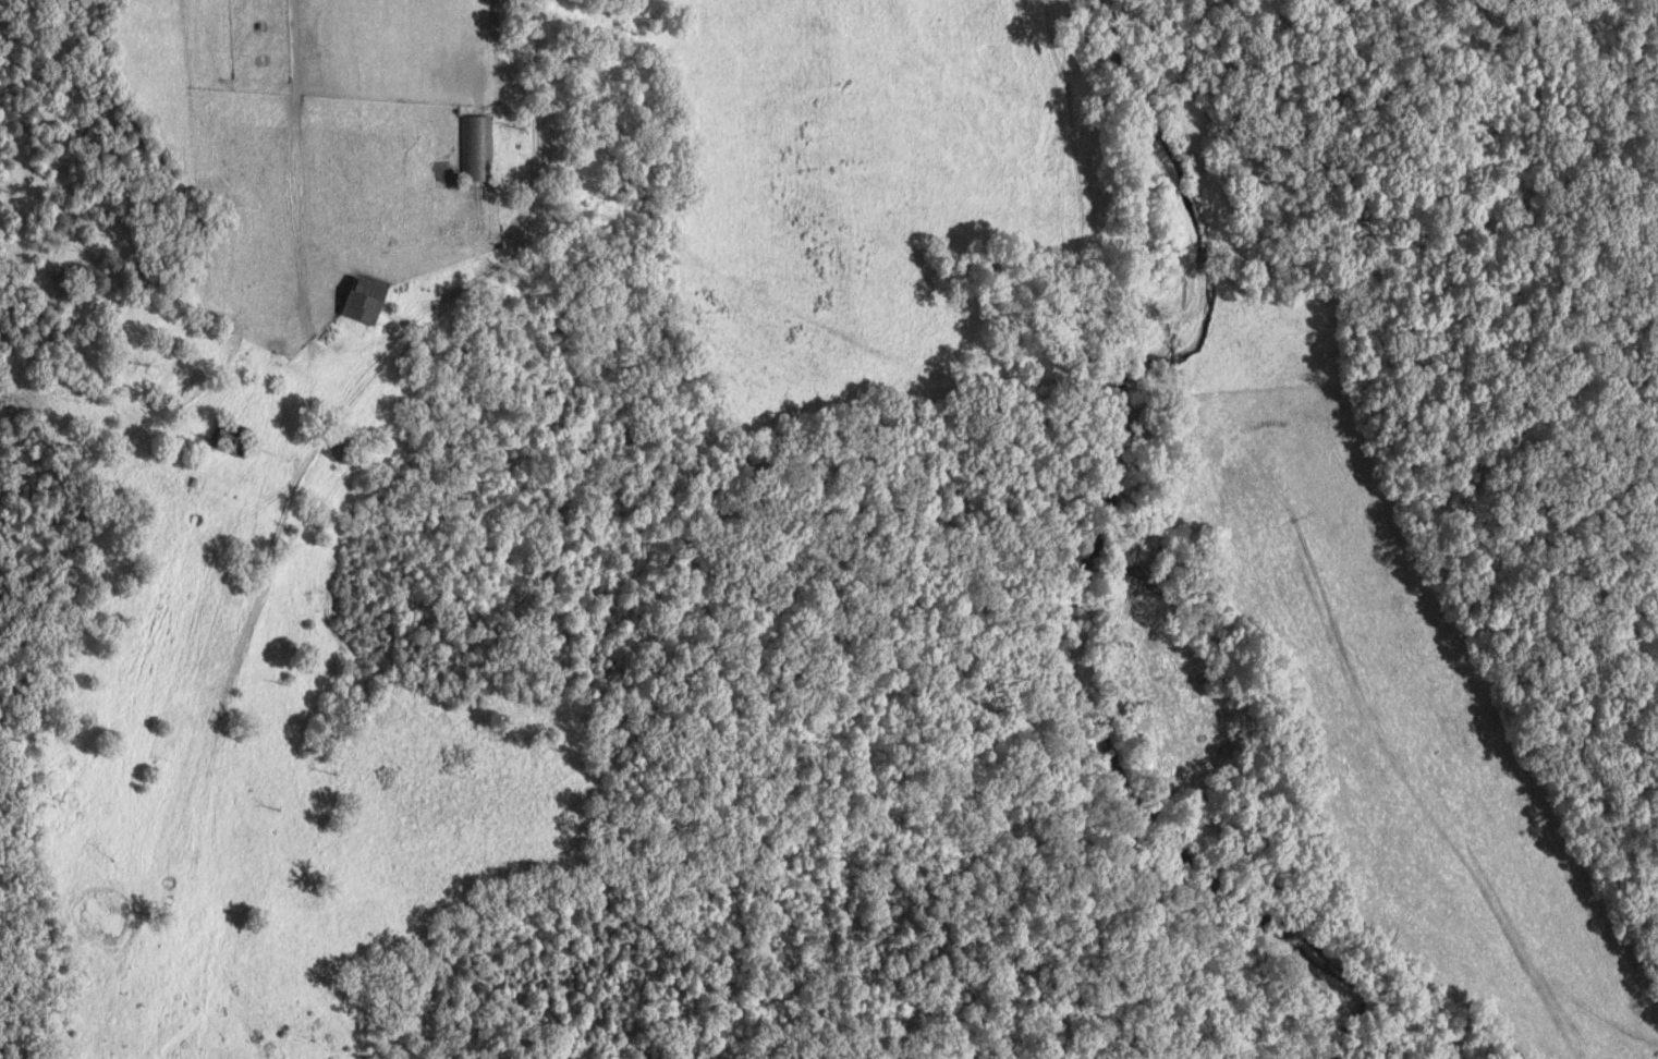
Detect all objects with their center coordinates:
building: (474, 150)
road: (247, 269)
building: (359, 302)
building: (227, 441)

